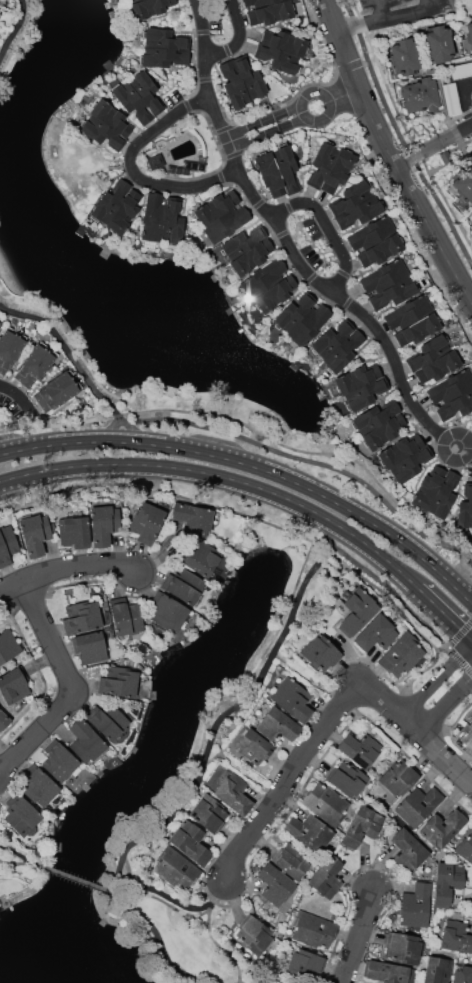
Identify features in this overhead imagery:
building: (149, 7)
building: (268, 11)
parking lot: (396, 12)
road: (399, 14)
road: (359, 22)
road: (202, 26)
building: (469, 34)
road: (20, 35)
road: (239, 36)
building: (439, 44)
building: (164, 47)
building: (282, 51)
building: (404, 56)
building: (461, 70)
building: (241, 82)
building: (420, 96)
building: (138, 97)
building: (451, 98)
road: (317, 106)
road: (471, 123)
building: (107, 125)
road: (455, 131)
road: (253, 132)
road: (416, 152)
road: (389, 155)
building: (471, 157)
building: (330, 167)
road: (136, 170)
building: (277, 171)
building: (463, 182)
building: (356, 204)
building: (117, 206)
building: (220, 216)
building: (161, 219)
building: (471, 223)
building: (471, 228)
road: (326, 230)
building: (376, 241)
building: (246, 250)
road: (306, 276)
building: (388, 284)
building: (268, 286)
building: (301, 319)
building: (0, 320)
building: (413, 321)
building: (337, 346)
building: (11, 349)
building: (434, 359)
building: (34, 365)
building: (360, 386)
building: (57, 391)
building: (452, 395)
road: (23, 397)
building: (471, 422)
building: (379, 424)
road: (228, 436)
building: (404, 457)
road: (236, 460)
road: (219, 484)
building: (435, 491)
building: (465, 510)
building: (192, 518)
building: (146, 522)
building: (103, 524)
building: (74, 531)
building: (34, 534)
building: (6, 545)
building: (203, 558)
road: (68, 569)
road: (459, 585)
building: (185, 587)
road: (444, 611)
building: (167, 612)
building: (357, 612)
building: (81, 617)
building: (125, 617)
building: (376, 633)
building: (9, 644)
building: (90, 647)
building: (320, 652)
building: (402, 654)
building: (117, 681)
road: (434, 682)
building: (13, 685)
road: (78, 691)
building: (292, 699)
road: (445, 705)
road: (333, 713)
road: (225, 715)
building: (3, 720)
building: (109, 721)
building: (277, 724)
building: (467, 738)
building: (85, 741)
building: (253, 746)
building: (360, 749)
building: (59, 762)
building: (399, 777)
building: (347, 778)
building: (38, 787)
building: (233, 792)
building: (326, 803)
building: (418, 805)
building: (208, 814)
building: (22, 817)
building: (361, 826)
building: (443, 827)
building: (310, 832)
building: (190, 843)
building: (465, 848)
building: (408, 850)
building: (292, 861)
road: (24, 864)
building: (175, 868)
building: (324, 874)
road: (78, 881)
building: (447, 882)
building: (276, 884)
building: (415, 905)
building: (312, 928)
road: (151, 929)
road: (211, 931)
building: (254, 933)
building: (455, 937)
road: (357, 940)
building: (404, 948)
building: (305, 963)
building: (437, 970)
building: (388, 973)
building: (462, 974)

